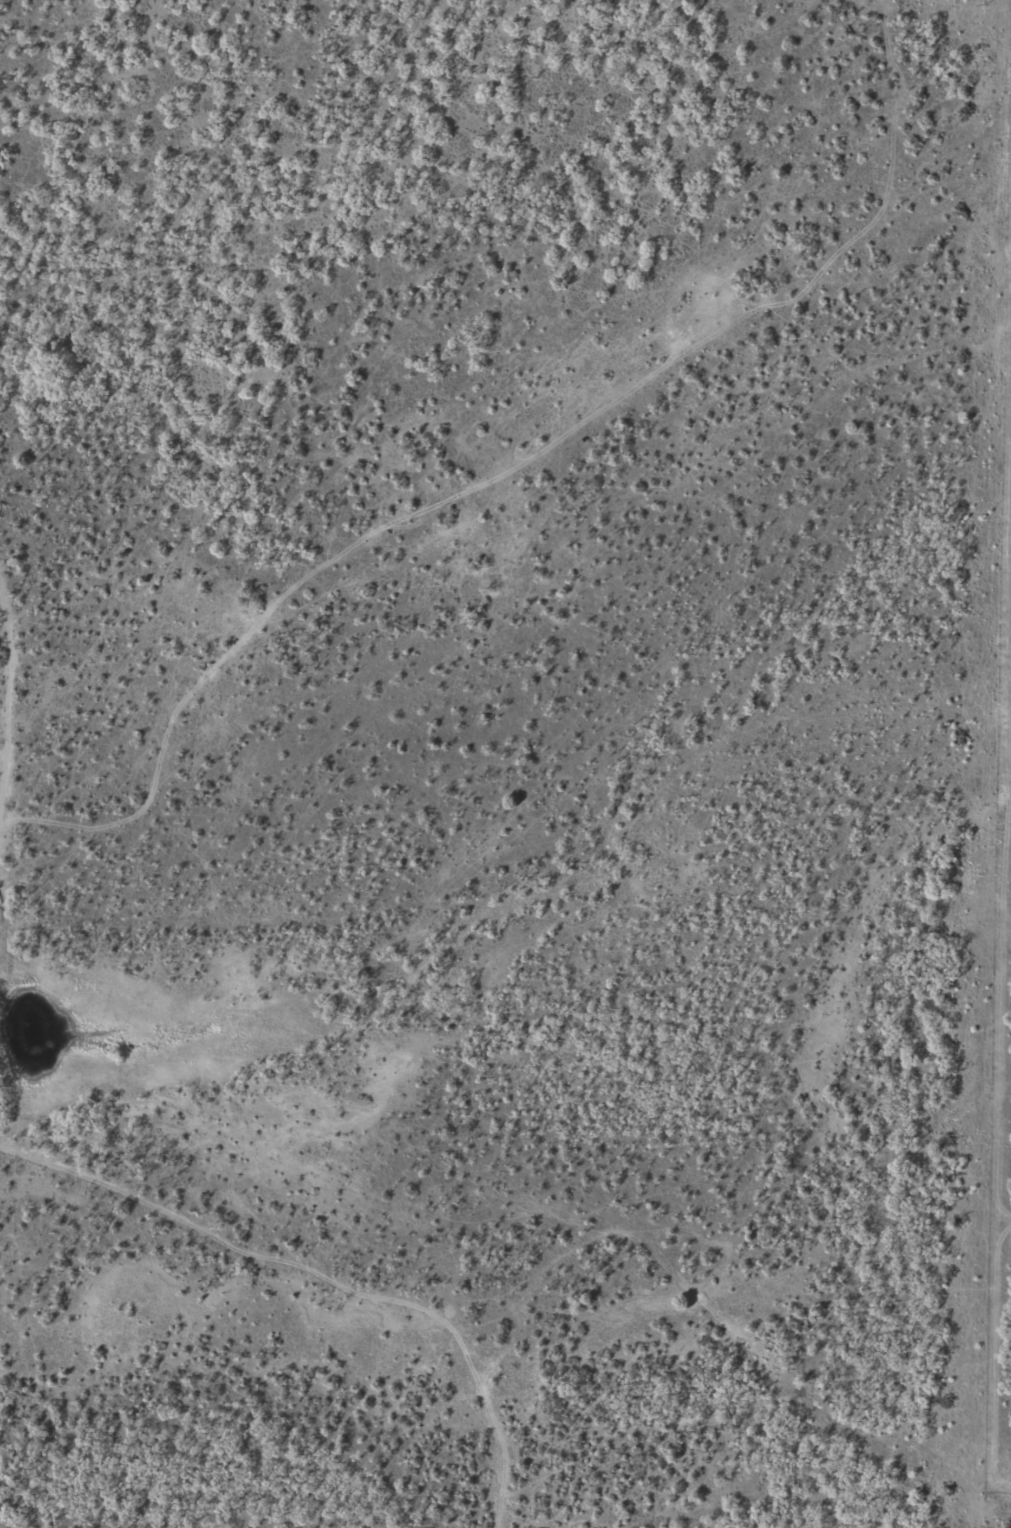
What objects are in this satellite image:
road: (321, 1311)

